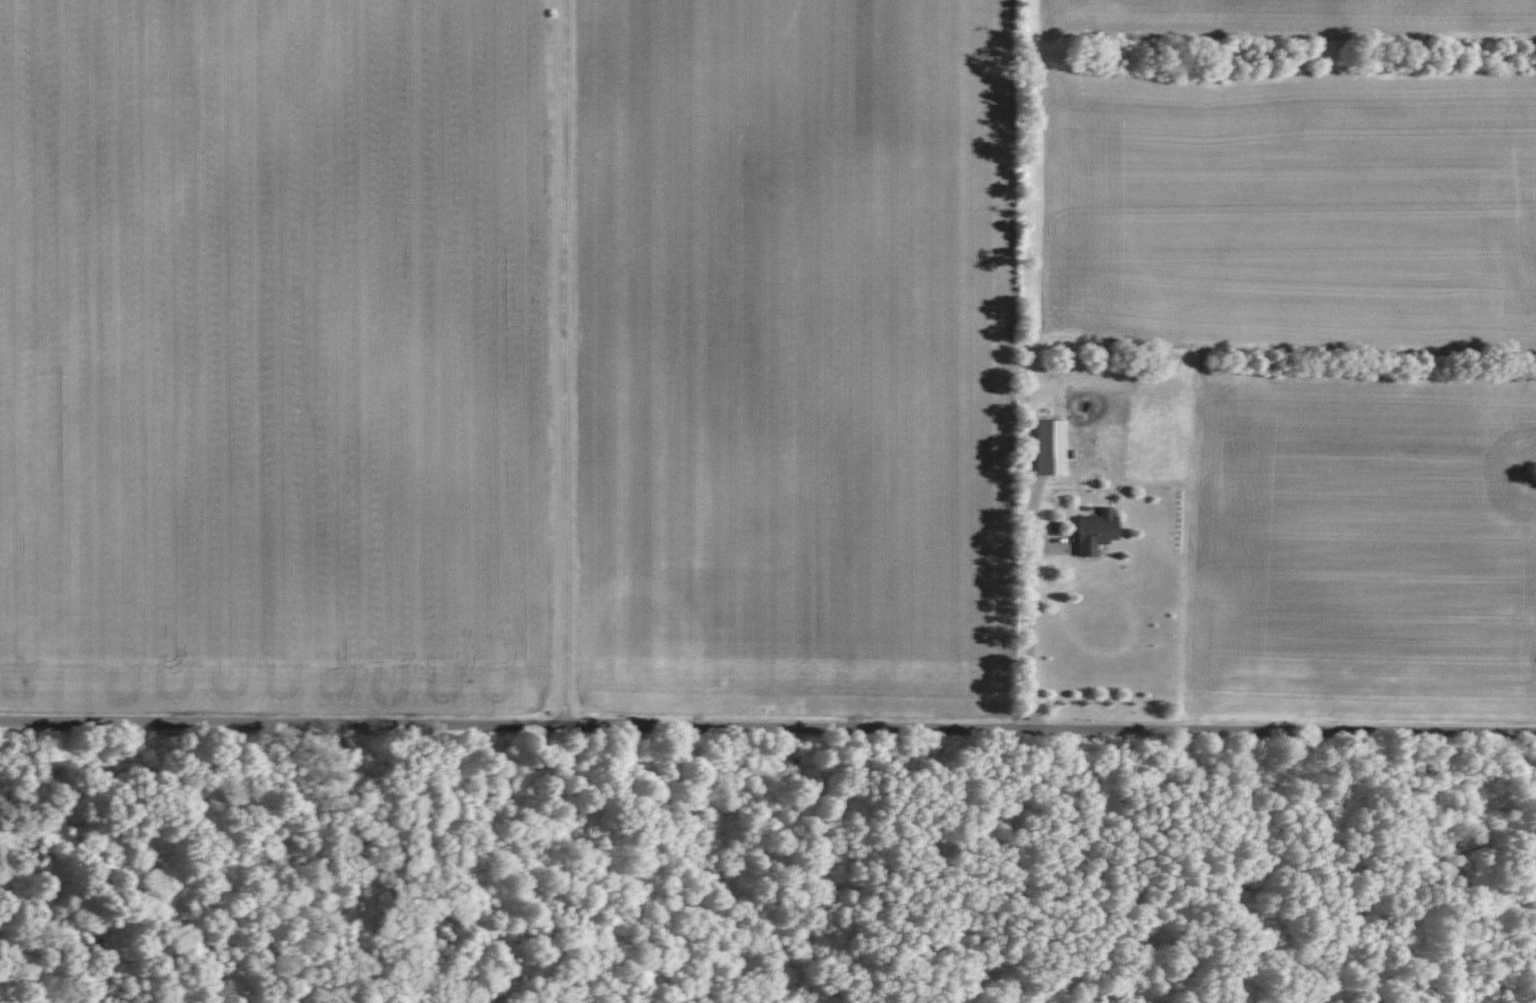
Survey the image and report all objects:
road: (563, 362)
building: (1043, 447)
building: (1091, 532)
road: (1028, 639)
road: (768, 726)

